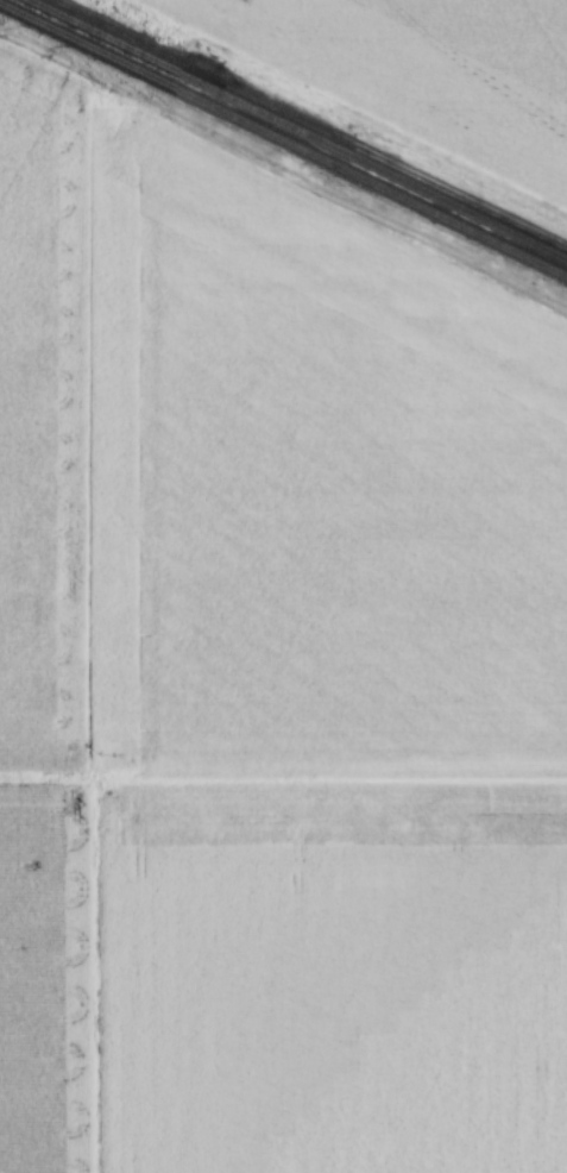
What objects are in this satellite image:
railway: (305, 124)
railway: (283, 140)
crop: (30, 421)
crop: (295, 493)

